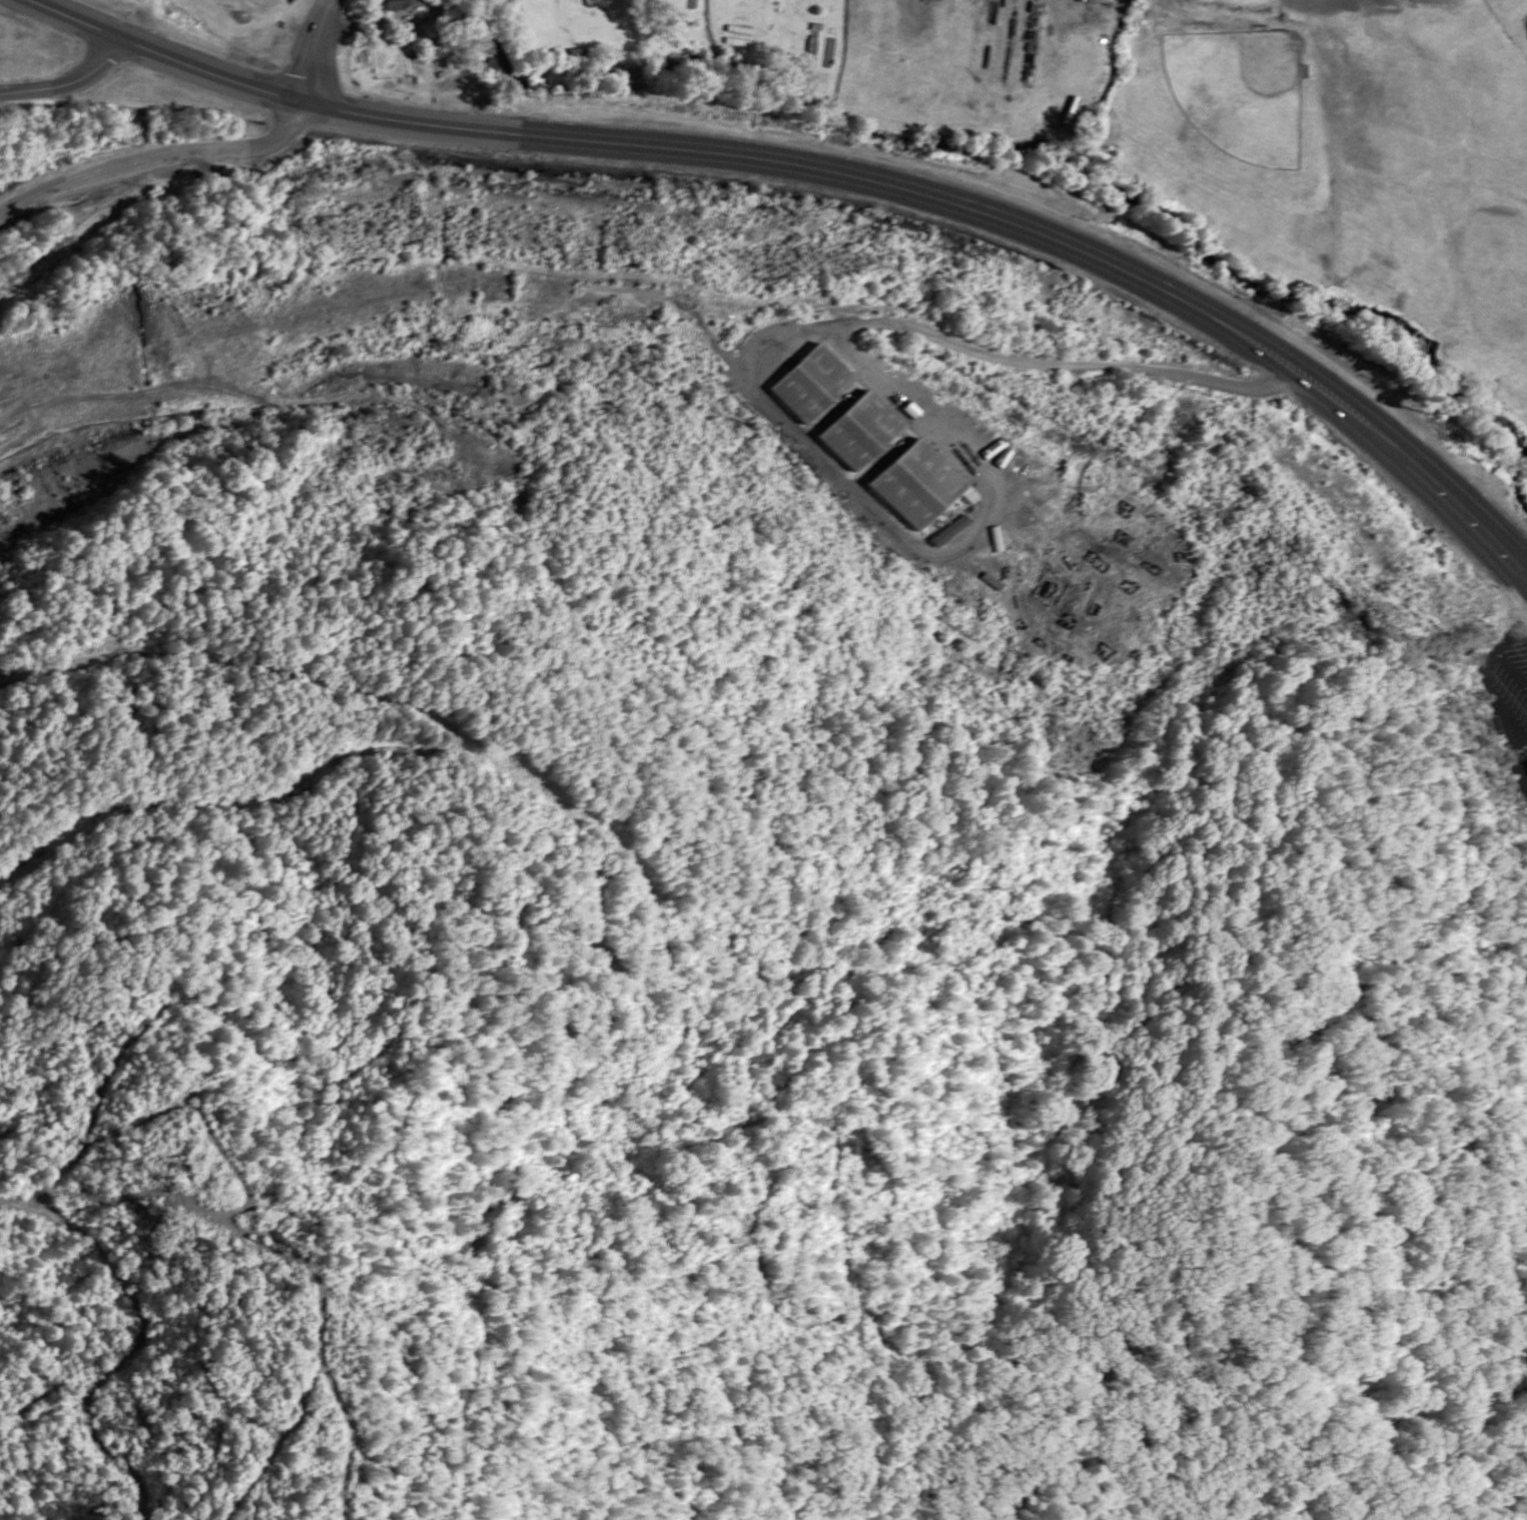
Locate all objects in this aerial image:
building: (399, 5)
road: (314, 48)
road: (67, 82)
road: (266, 90)
road: (159, 156)
road: (1006, 208)
road: (915, 279)
building: (814, 385)
building: (863, 433)
building: (919, 487)
road: (1478, 508)
building: (951, 533)

